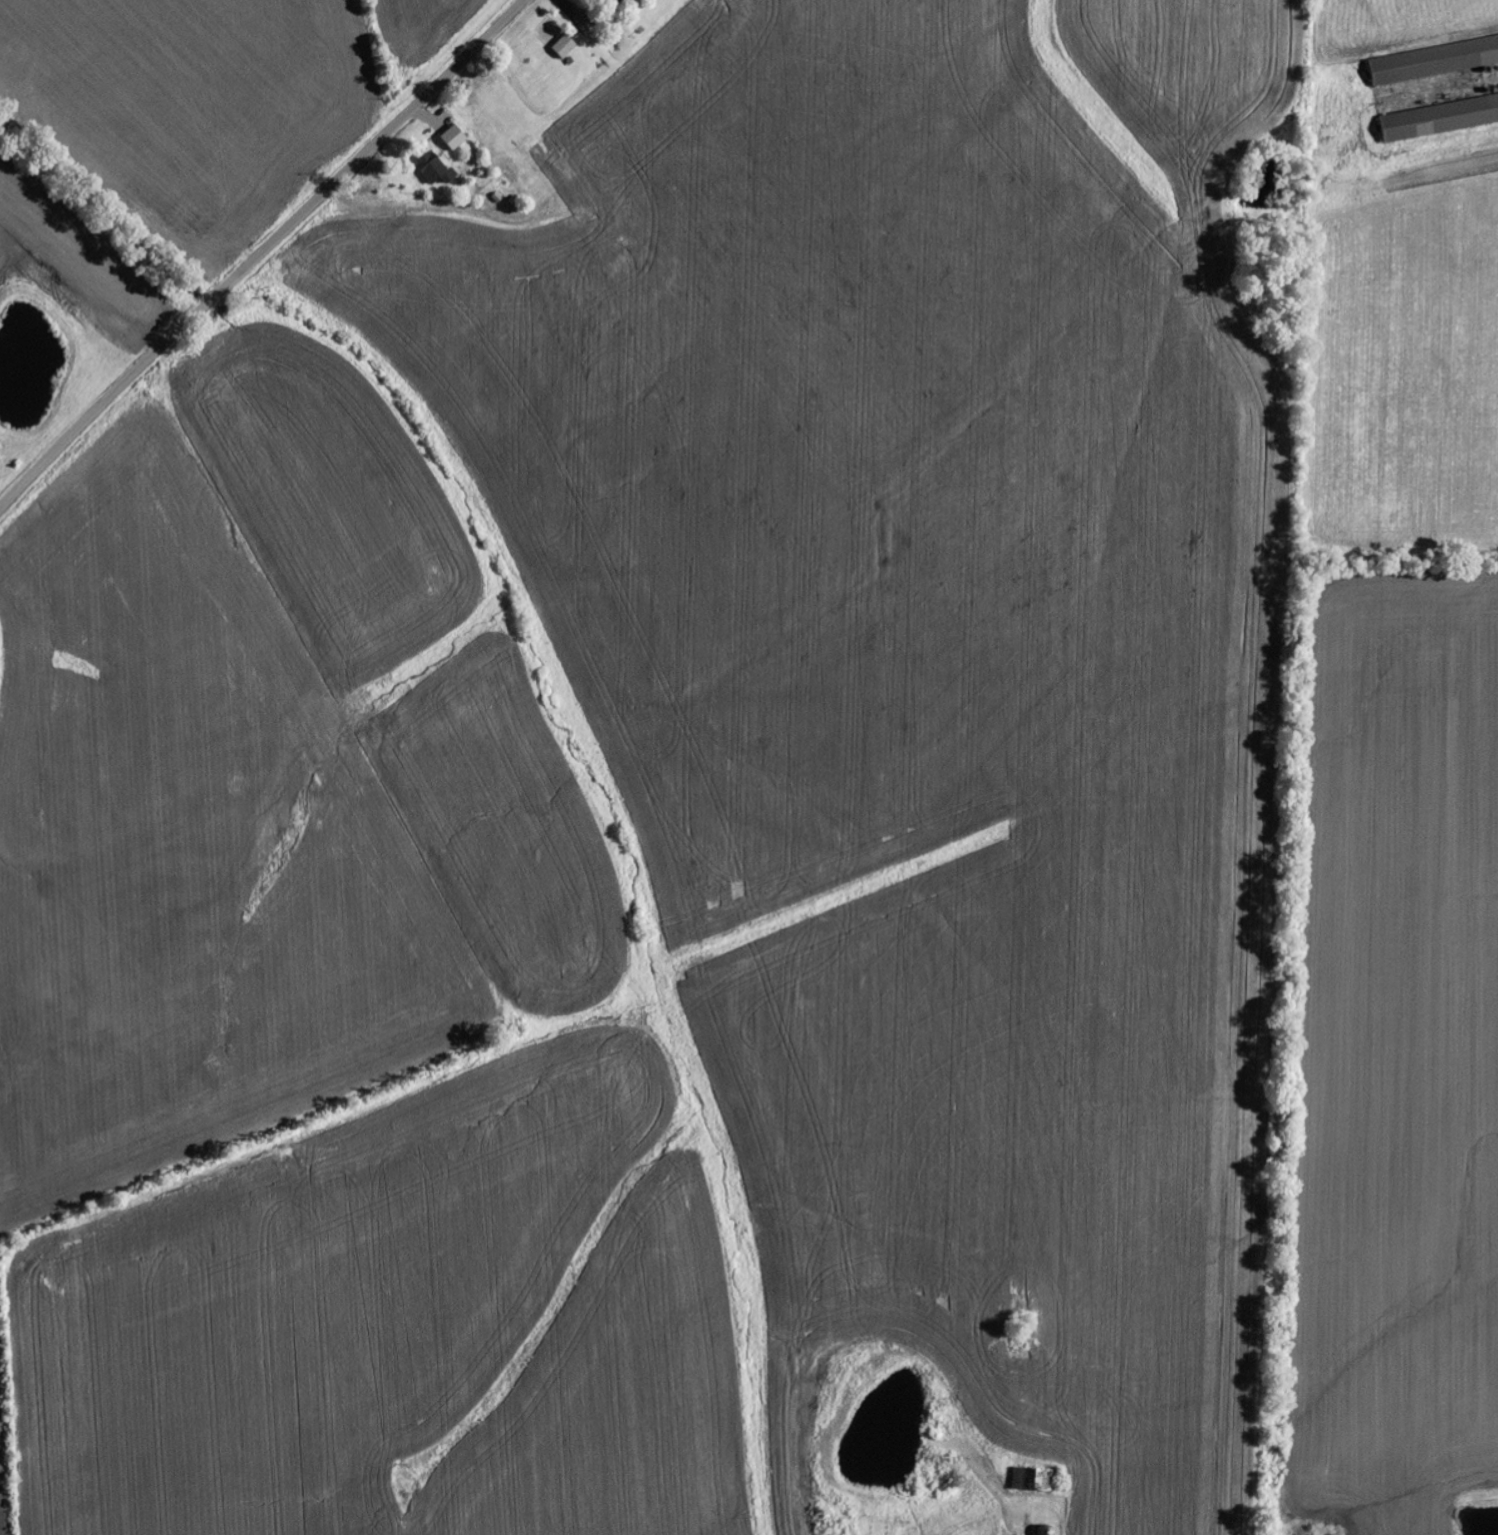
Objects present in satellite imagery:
building: (615, 1)
building: (564, 48)
building: (1434, 61)
building: (1439, 118)
building: (454, 138)
road: (370, 147)
building: (434, 169)
road: (106, 398)
building: (1037, 1481)

